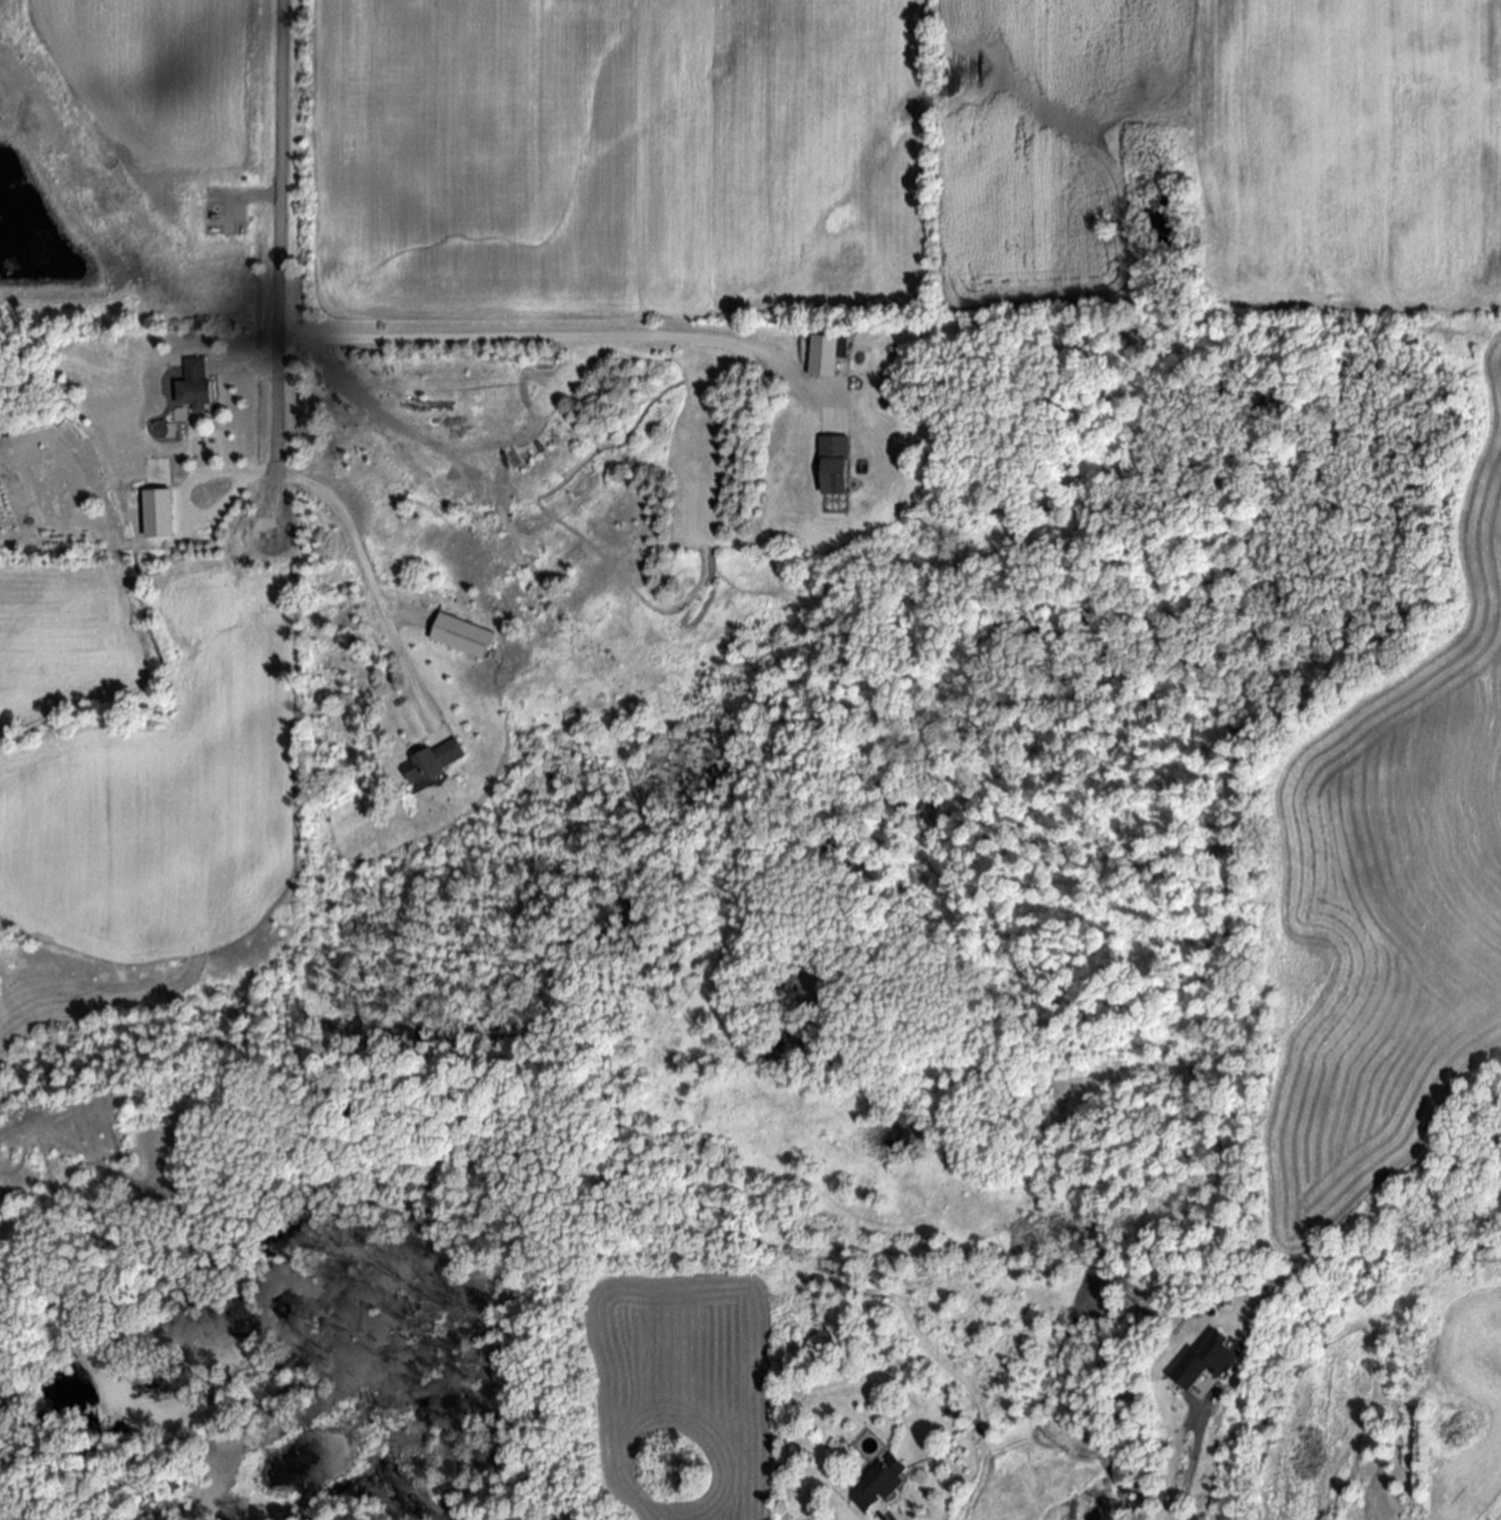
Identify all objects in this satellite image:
road: (279, 262)
road: (557, 339)
building: (828, 355)
road: (254, 366)
building: (196, 386)
building: (835, 465)
building: (157, 475)
building: (161, 513)
road: (353, 533)
building: (463, 636)
building: (656, 681)
building: (433, 762)
building: (1209, 1363)
road: (1185, 1475)
building: (878, 1487)
road: (884, 1514)

